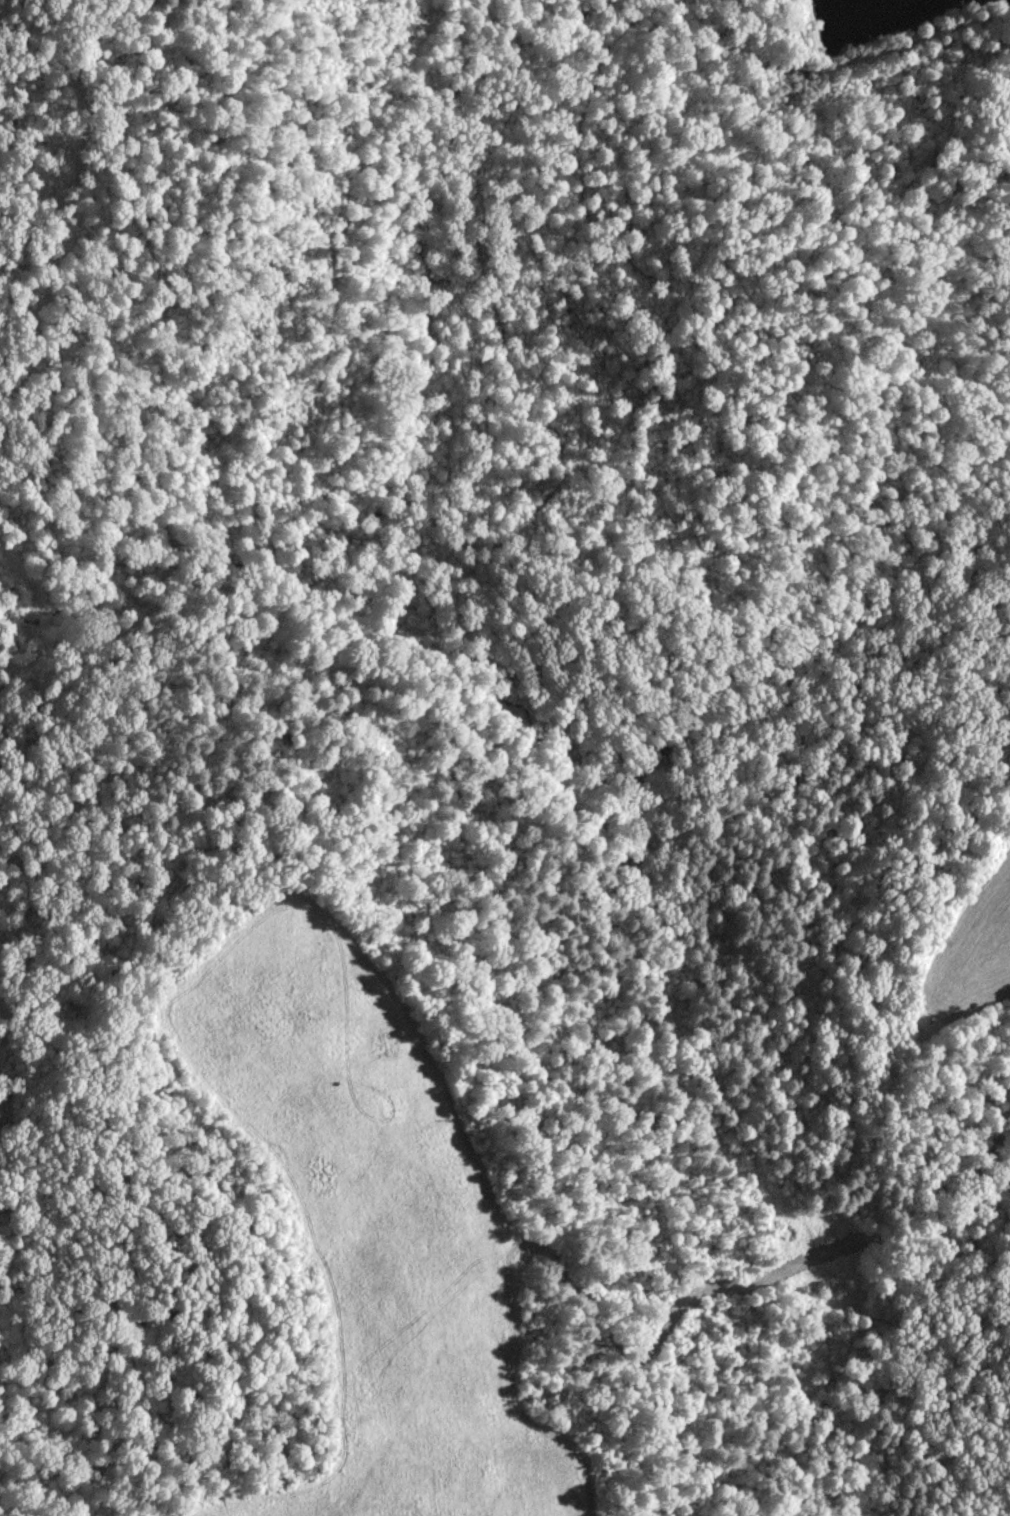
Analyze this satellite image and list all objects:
road: (914, 1207)

